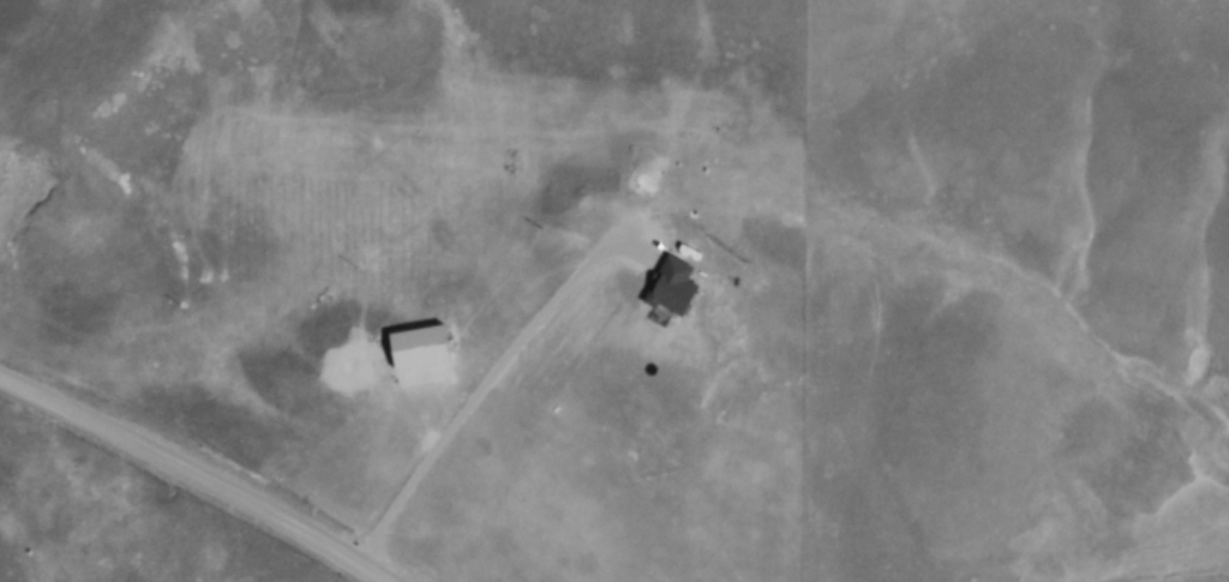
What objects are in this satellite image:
road: (485, 402)
road: (196, 473)

